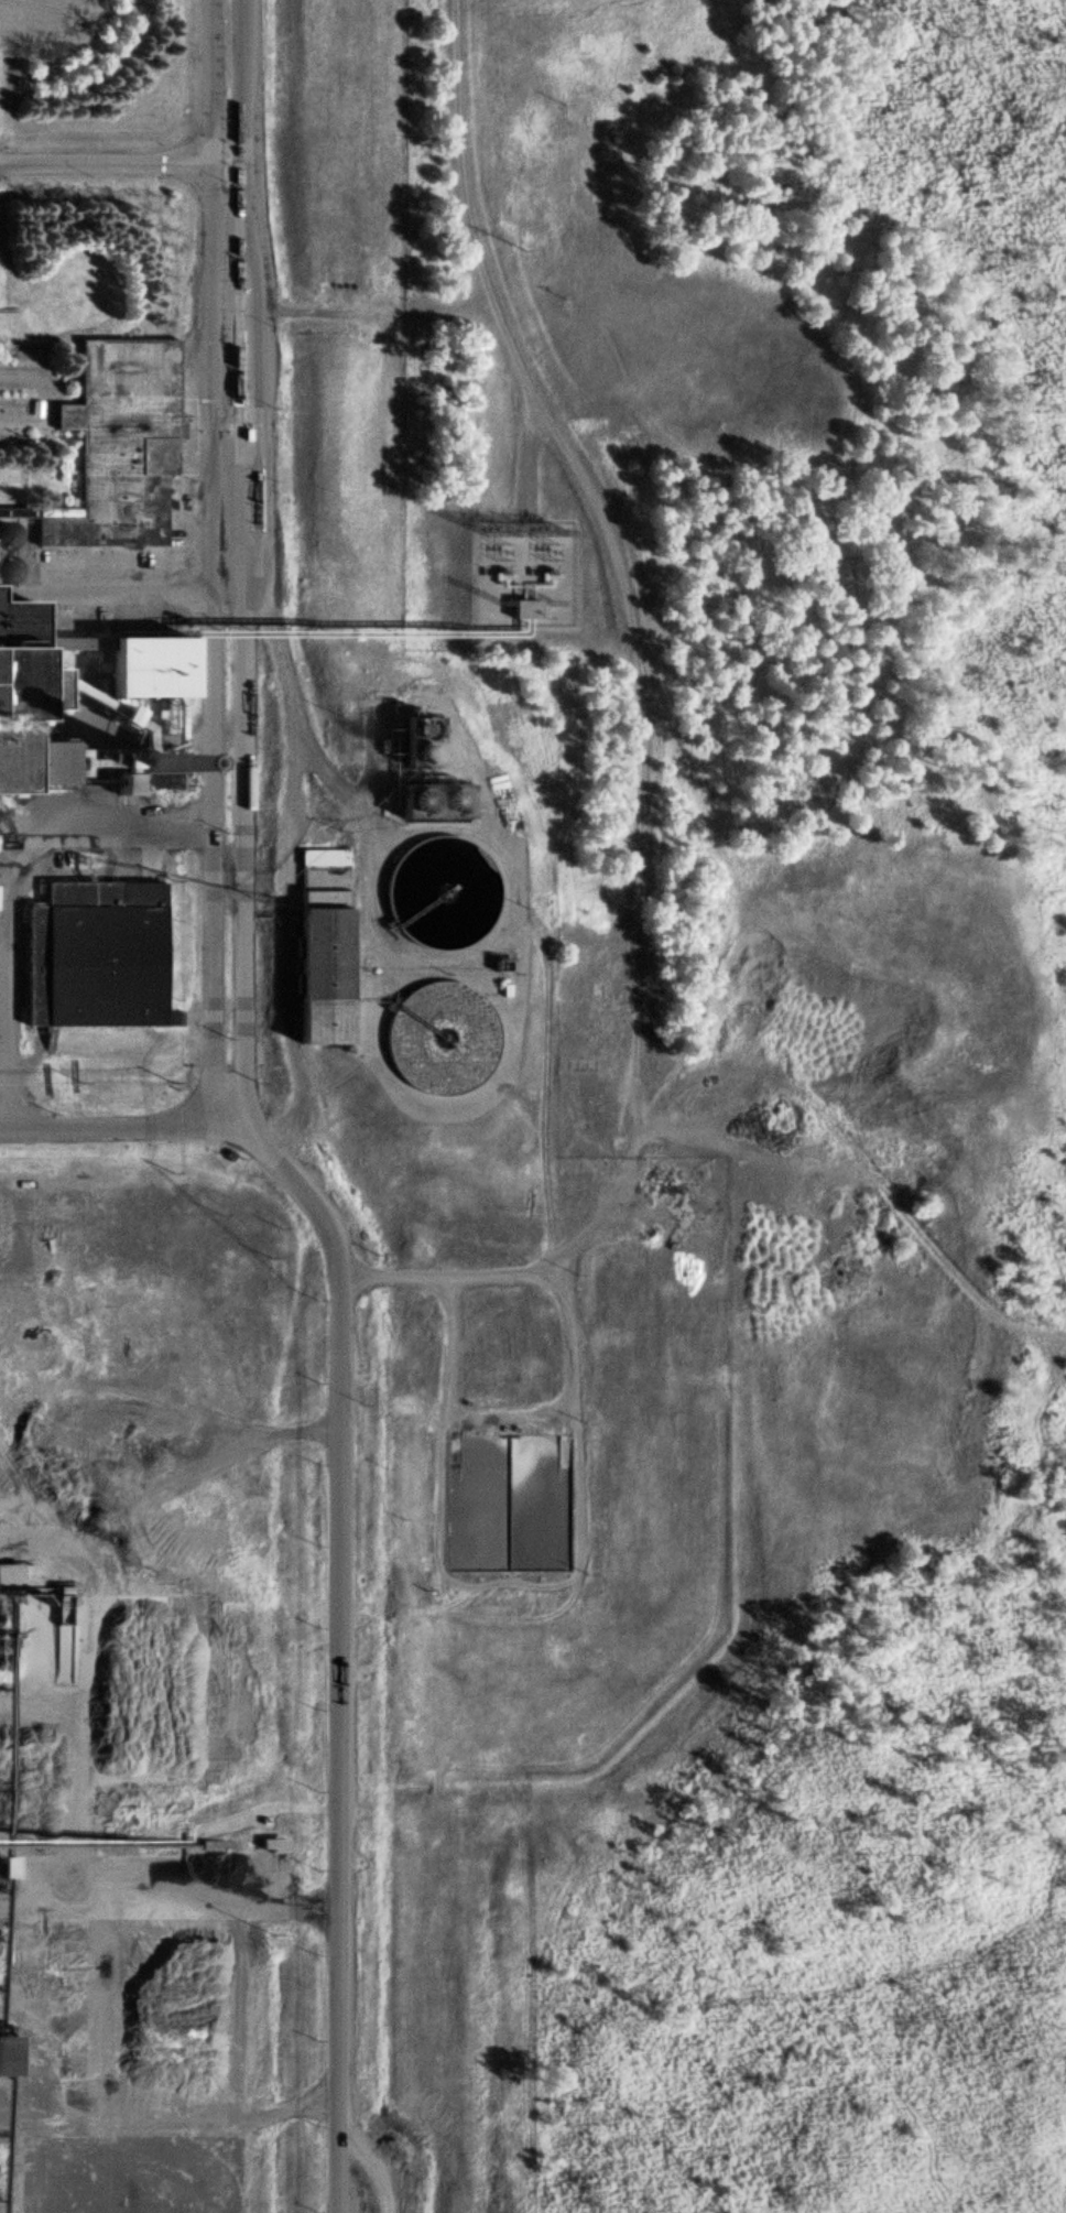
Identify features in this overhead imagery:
road: (106, 163)
power tower: (520, 246)
road: (45, 392)
building: (117, 443)
building: (17, 512)
road: (216, 564)
road: (248, 564)
power substation: (527, 575)
road: (630, 585)
building: (518, 609)
building: (64, 642)
building: (26, 666)
building: (142, 668)
building: (412, 739)
chimney: (163, 760)
building: (23, 761)
building: (422, 802)
wastewater plant: (446, 892)
building: (433, 894)
building: (325, 943)
building: (97, 951)
building: (425, 1035)
wastewater plant: (445, 1037)
building: (18, 1196)
building: (17, 1230)
road: (341, 1529)
building: (8, 1577)
building: (4, 1866)
building: (7, 2055)

